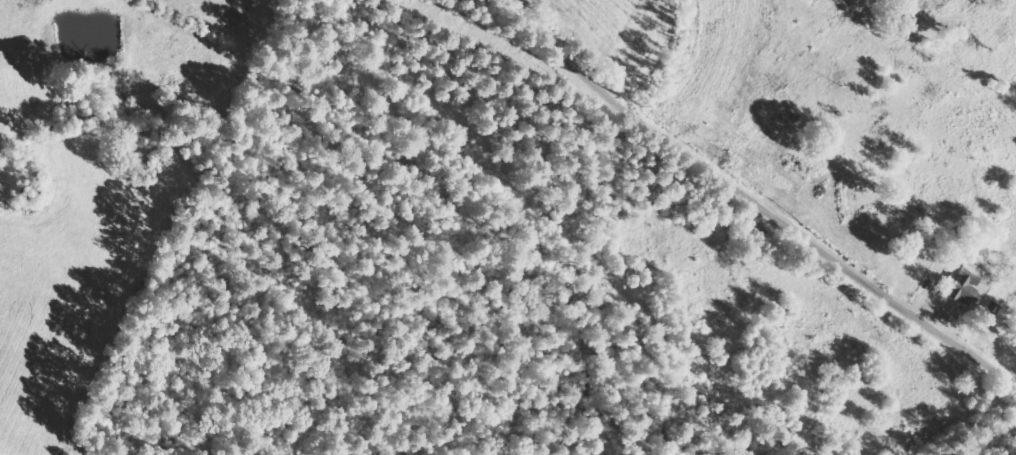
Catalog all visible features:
road: (737, 227)

